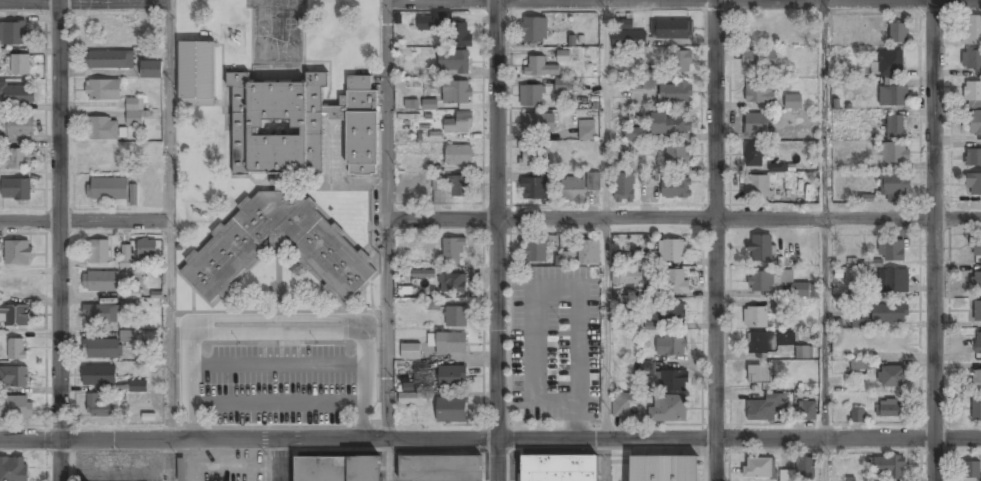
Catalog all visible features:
road: (84, 1)
road: (605, 2)
building: (425, 24)
building: (624, 24)
building: (671, 30)
building: (972, 30)
building: (533, 31)
building: (13, 33)
building: (897, 34)
building: (460, 35)
building: (628, 40)
building: (563, 55)
building: (109, 60)
building: (758, 60)
building: (891, 60)
building: (971, 61)
building: (453, 62)
building: (681, 62)
building: (20, 64)
building: (538, 67)
building: (151, 71)
building: (196, 75)
building: (648, 83)
building: (561, 86)
building: (103, 91)
building: (17, 93)
building: (456, 93)
building: (758, 93)
building: (972, 93)
building: (674, 94)
building: (531, 96)
building: (892, 97)
building: (792, 101)
building: (411, 103)
building: (429, 104)
road: (167, 109)
road: (383, 110)
building: (134, 113)
building: (975, 122)
building: (459, 123)
building: (538, 123)
building: (670, 124)
building: (756, 125)
building: (19, 127)
building: (300, 127)
building: (895, 129)
building: (103, 130)
building: (586, 131)
building: (635, 133)
building: (894, 154)
building: (100, 155)
building: (677, 155)
building: (458, 156)
building: (752, 156)
building: (533, 157)
building: (973, 158)
building: (16, 159)
building: (777, 167)
building: (436, 182)
building: (593, 182)
building: (973, 185)
building: (459, 188)
building: (757, 188)
building: (894, 188)
building: (16, 189)
building: (534, 189)
building: (572, 189)
building: (624, 189)
building: (675, 189)
building: (108, 190)
building: (152, 190)
building: (133, 194)
road: (605, 219)
road: (825, 219)
road: (83, 220)
road: (681, 221)
road: (59, 240)
road: (496, 240)
road: (716, 240)
road: (936, 240)
building: (760, 248)
building: (976, 248)
building: (147, 250)
building: (890, 250)
building: (672, 251)
building: (18, 252)
building: (98, 252)
building: (535, 252)
building: (0, 253)
building: (452, 253)
building: (588, 253)
building: (227, 254)
building: (125, 257)
building: (567, 258)
building: (423, 273)
building: (627, 277)
building: (766, 280)
building: (893, 281)
building: (976, 281)
building: (100, 282)
building: (676, 282)
building: (16, 284)
building: (452, 284)
building: (805, 291)
building: (131, 293)
building: (649, 294)
building: (433, 304)
building: (977, 311)
building: (889, 313)
building: (100, 314)
building: (671, 314)
building: (16, 315)
building: (456, 318)
building: (755, 318)
building: (859, 321)
road: (169, 330)
road: (383, 331)
building: (128, 337)
building: (769, 342)
building: (451, 344)
building: (978, 344)
building: (671, 346)
building: (18, 349)
building: (101, 350)
building: (411, 352)
building: (803, 353)
building: (861, 365)
building: (644, 367)
building: (758, 375)
building: (891, 376)
building: (14, 377)
building: (99, 377)
building: (452, 378)
building: (976, 380)
building: (673, 382)
building: (137, 385)
building: (412, 399)
building: (620, 404)
building: (976, 407)
building: (15, 408)
building: (99, 408)
building: (764, 408)
building: (668, 409)
building: (890, 409)
building: (452, 411)
building: (808, 412)
building: (857, 415)
road: (683, 438)
road: (140, 440)
road: (332, 440)
road: (171, 460)
road: (280, 460)
road: (605, 460)
road: (826, 460)
road: (385, 461)
building: (439, 468)
building: (558, 468)
building: (759, 468)
building: (887, 468)
building: (336, 469)
building: (663, 469)
building: (13, 470)
building: (799, 471)
building: (970, 471)

